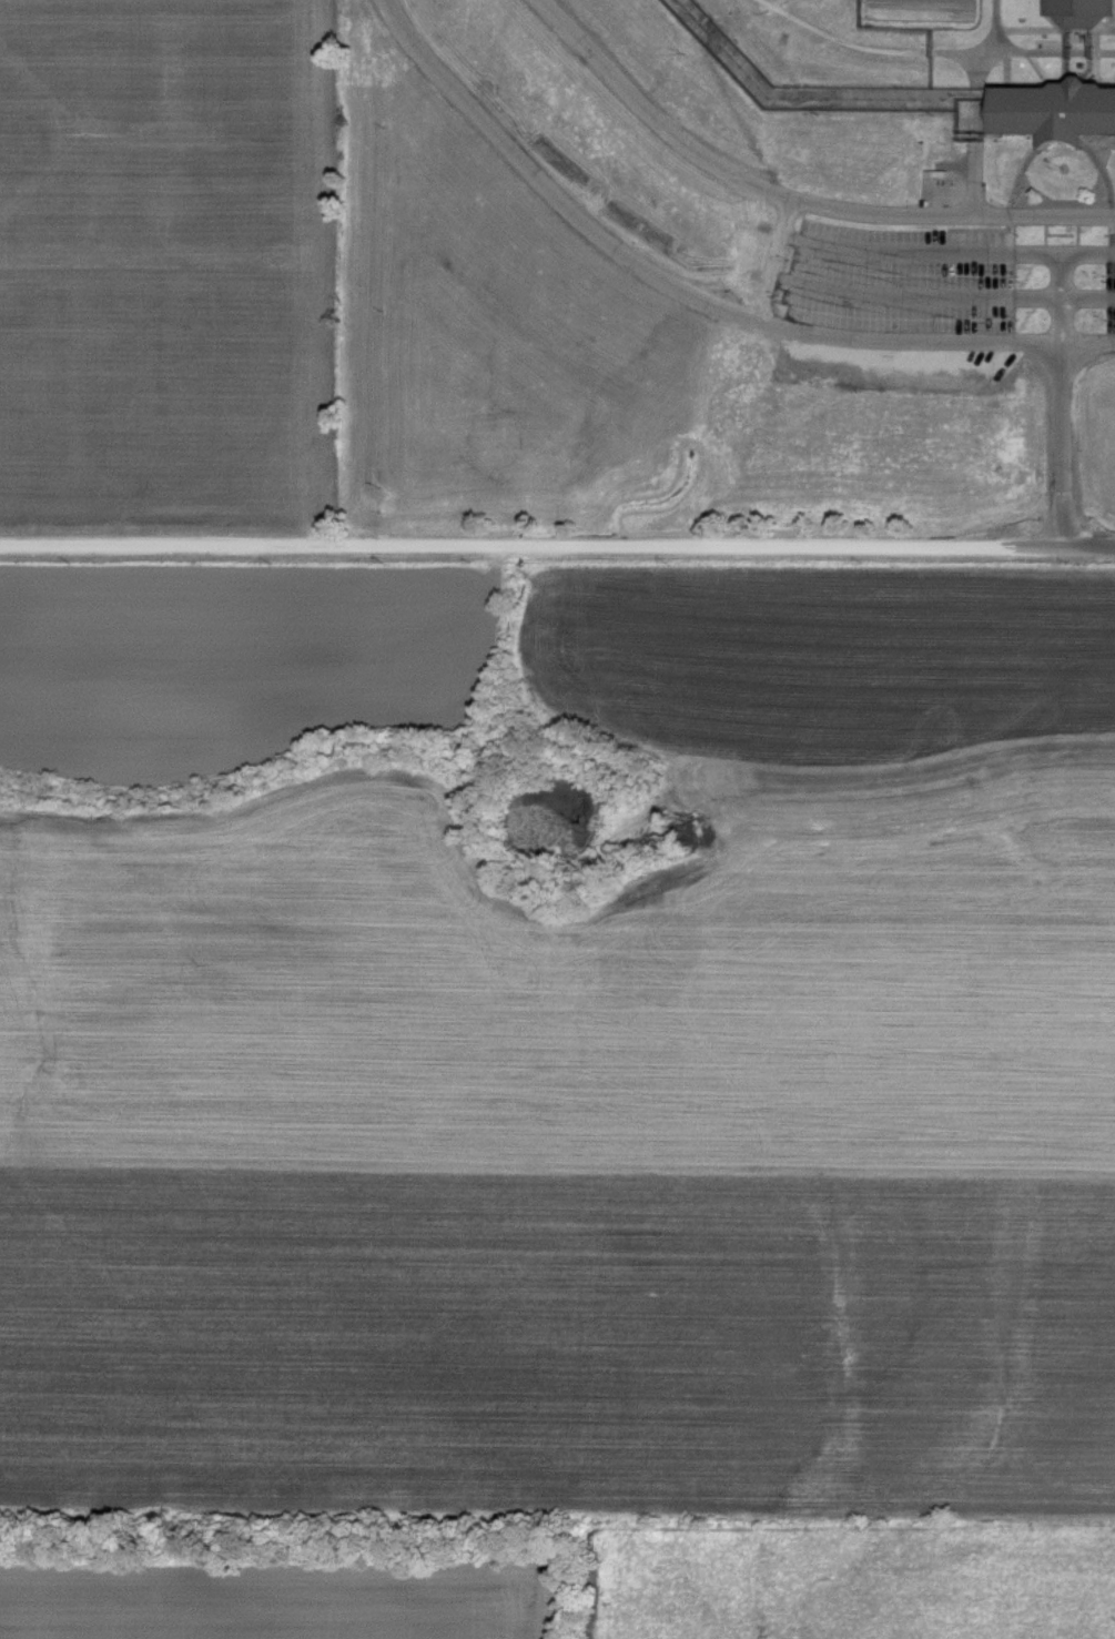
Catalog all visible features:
building: (1081, 12)
building: (1058, 110)
road: (693, 292)
road: (1063, 446)
road: (533, 544)
road: (1091, 546)

